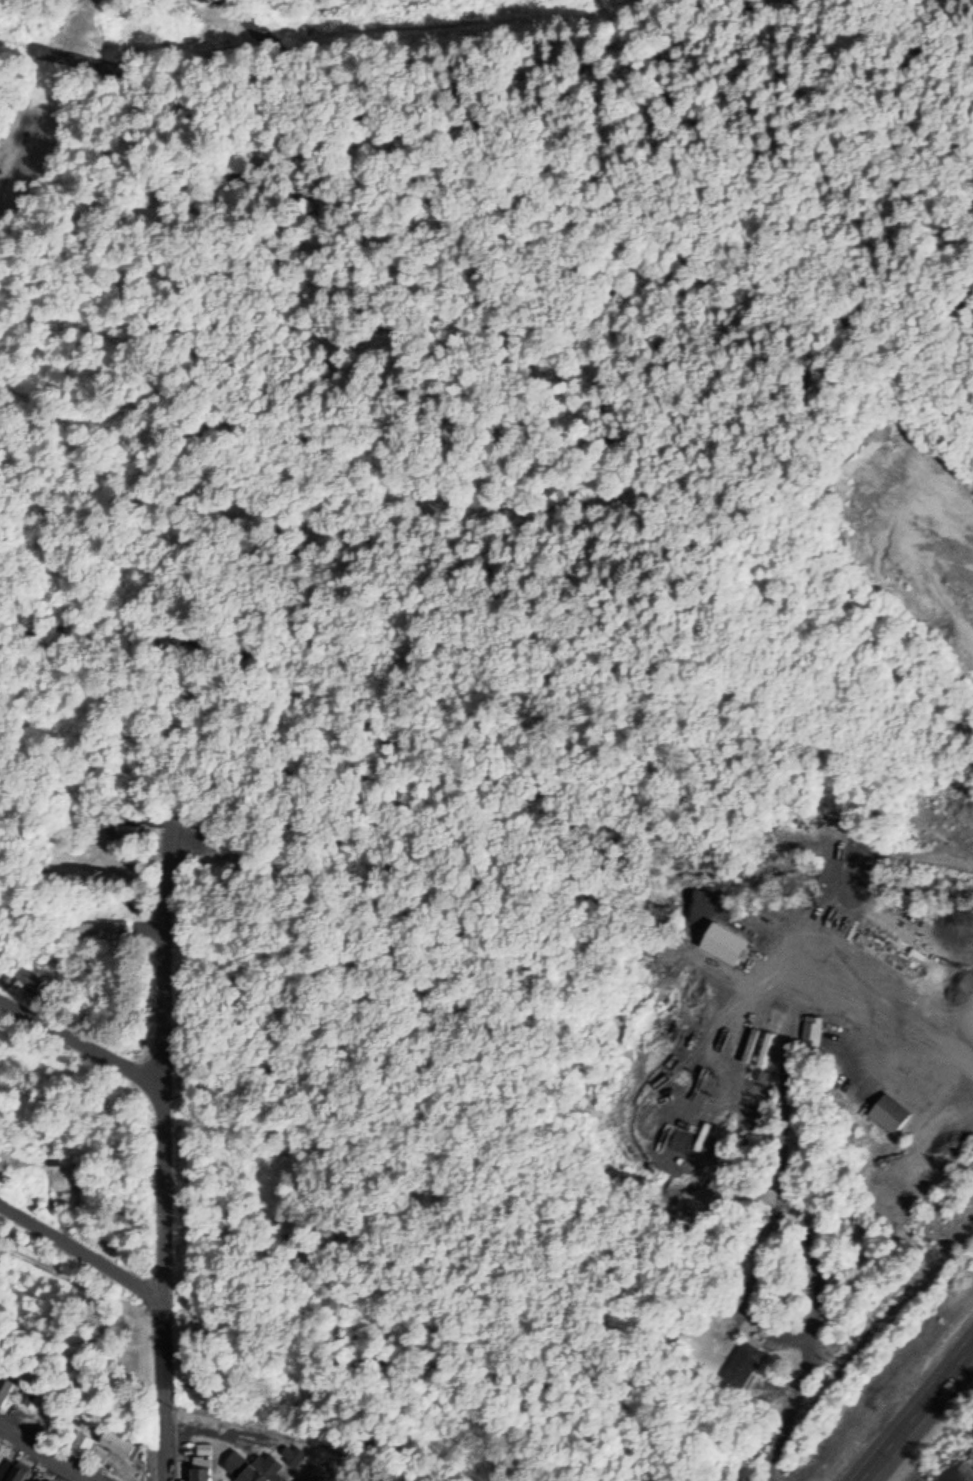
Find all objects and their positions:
road: (47, 91)
building: (128, 835)
building: (102, 925)
building: (32, 976)
building: (813, 1027)
road: (80, 1033)
building: (768, 1048)
building: (894, 1112)
road: (164, 1146)
road: (83, 1242)
building: (743, 1365)
building: (5, 1390)
building: (26, 1393)
road: (916, 1413)
building: (117, 1444)
building: (81, 1445)
road: (55, 1448)
building: (0, 1452)
building: (252, 1467)
building: (14, 1471)
building: (200, 1472)
building: (46, 1480)

